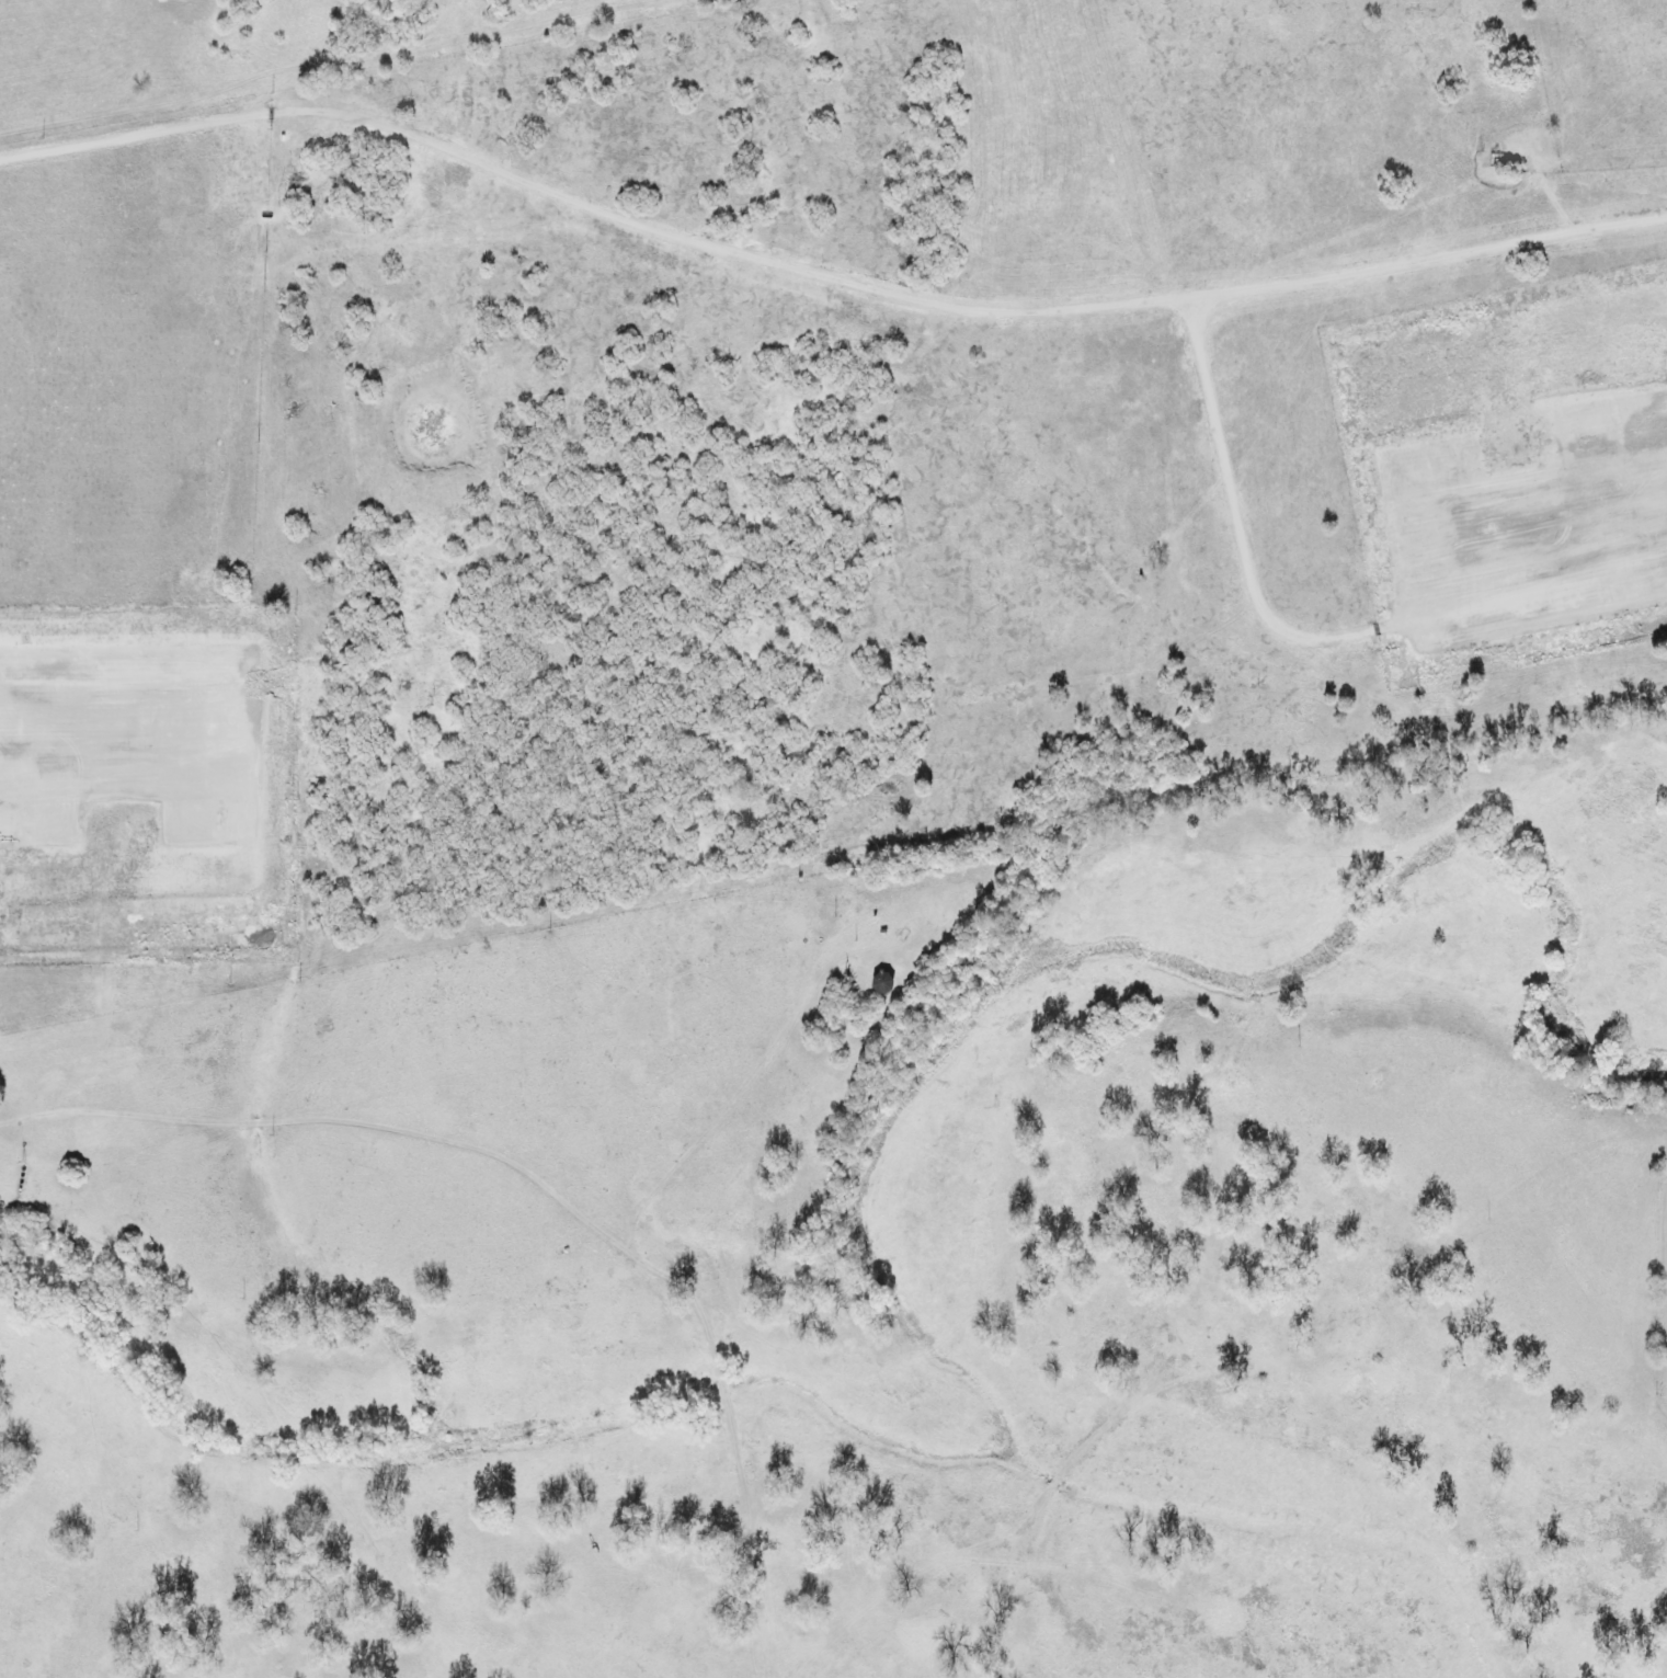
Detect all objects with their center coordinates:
road: (827, 274)

